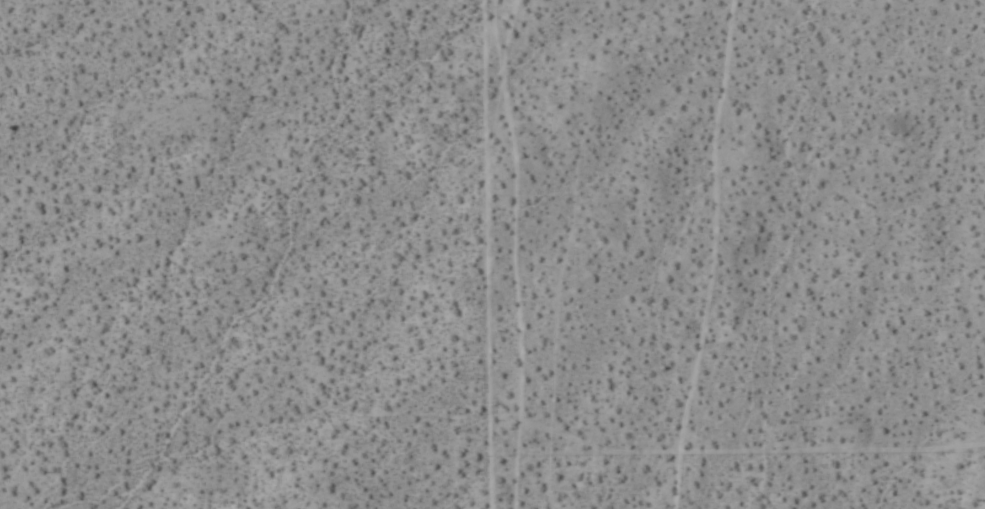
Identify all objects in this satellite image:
crop: (769, 253)

